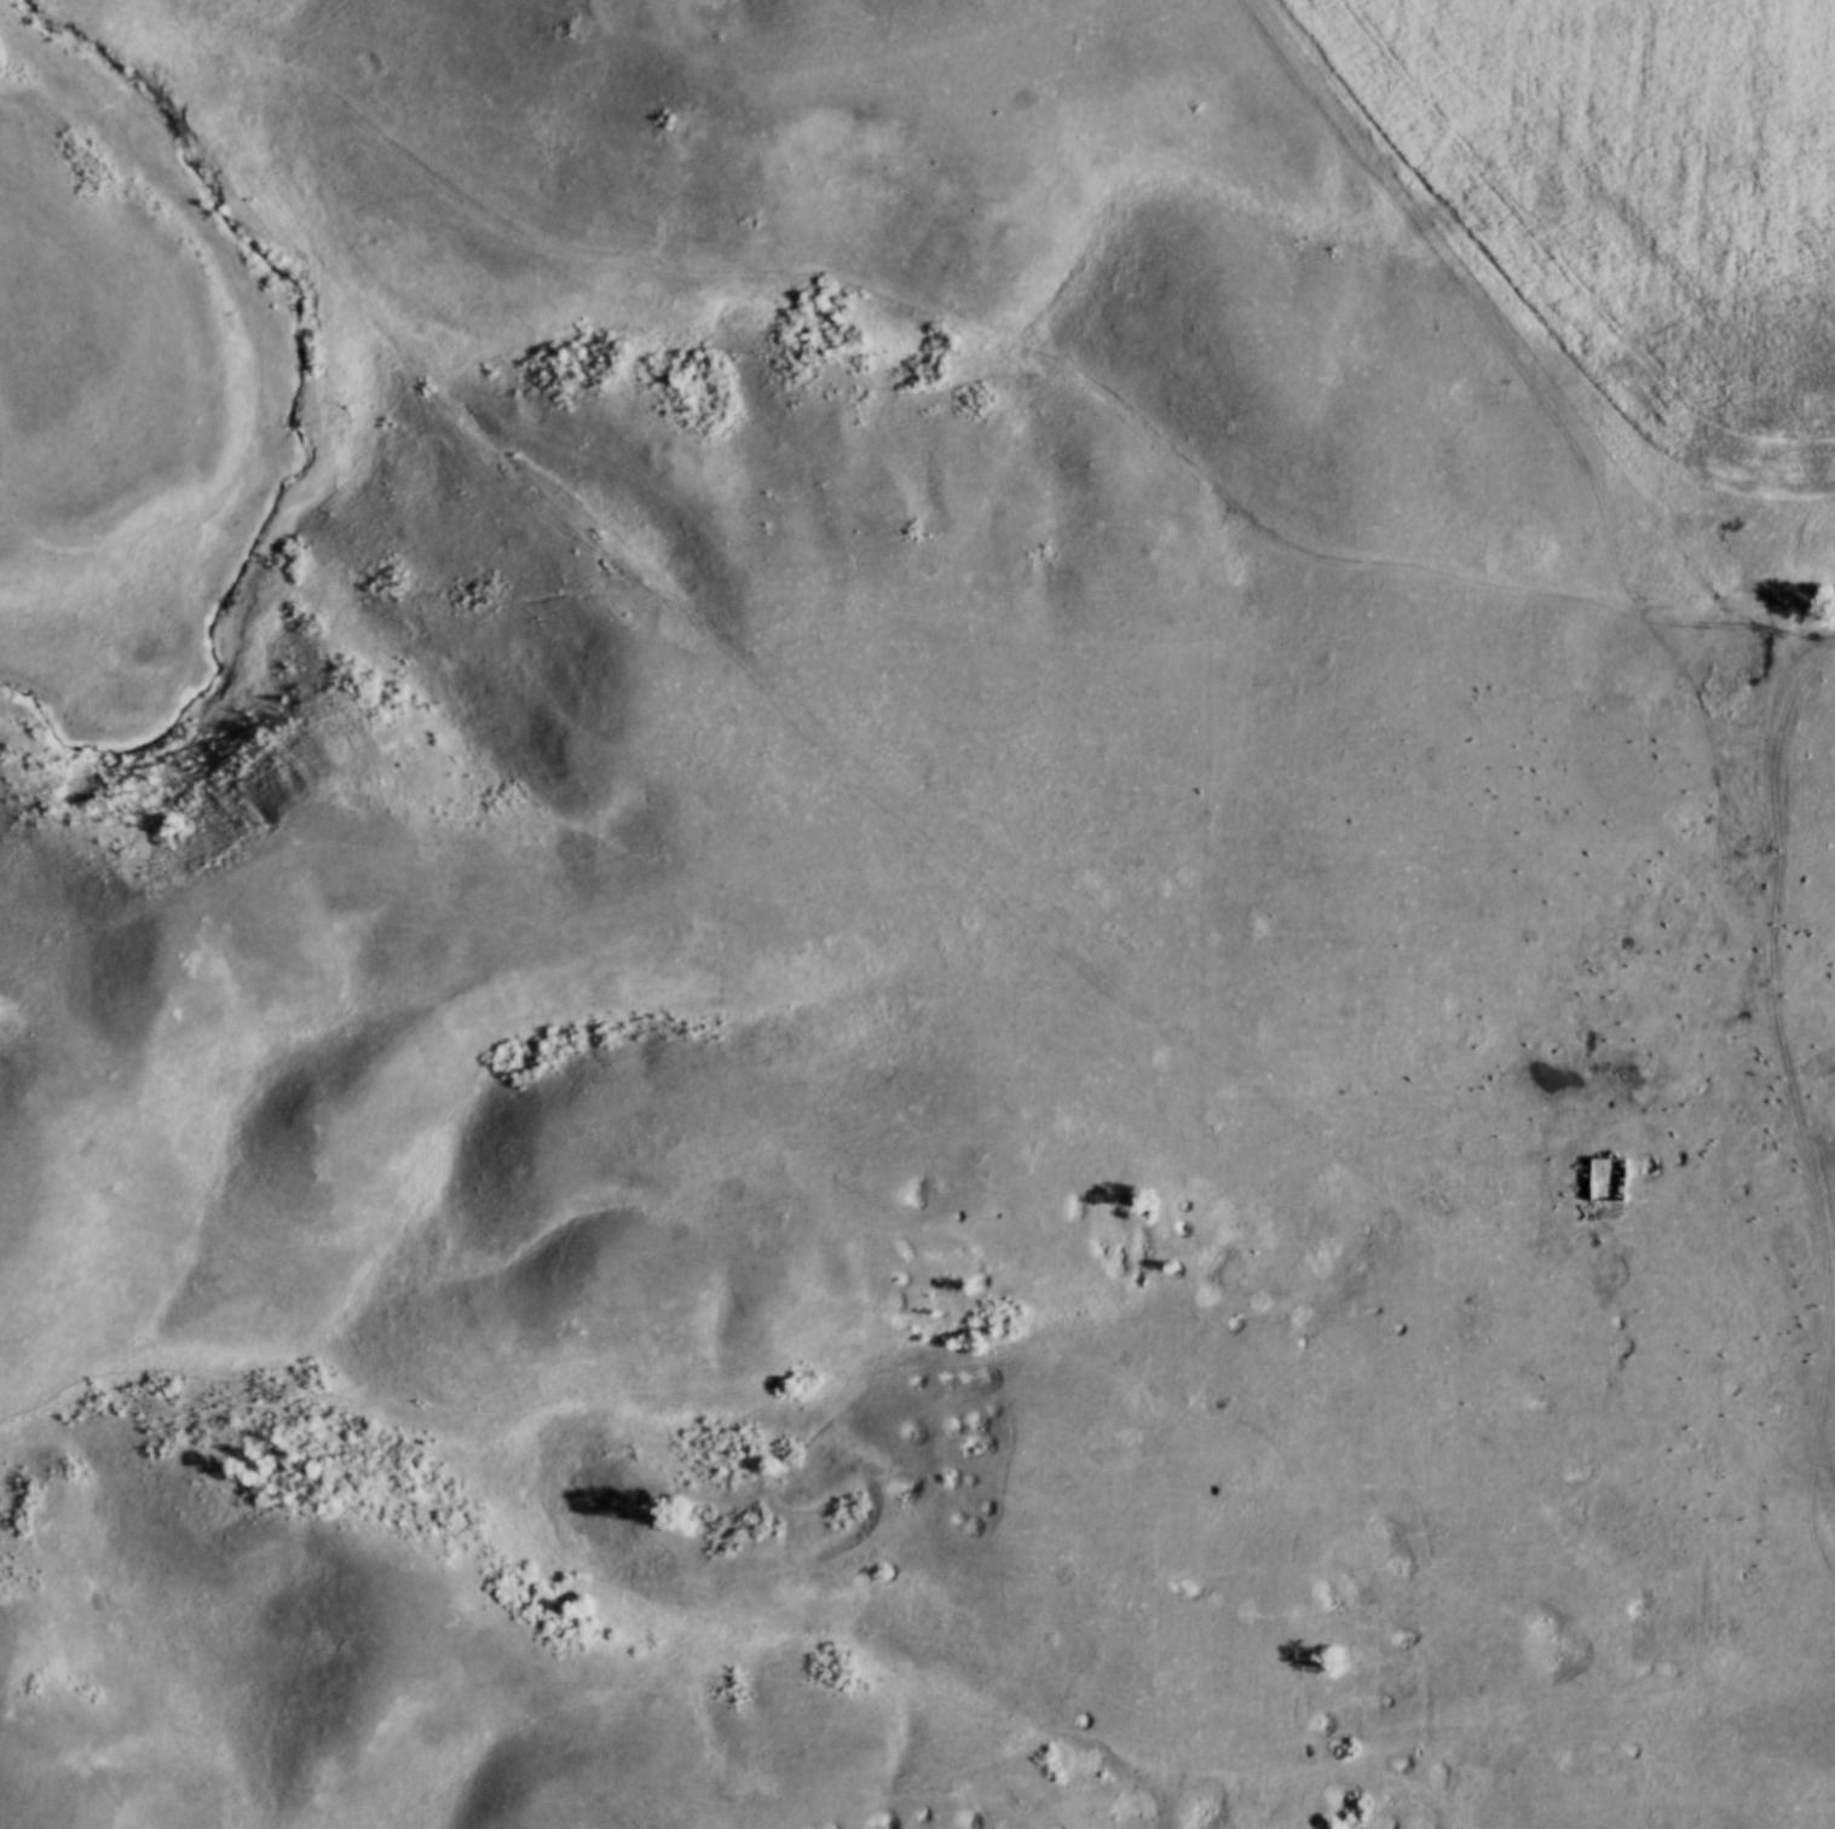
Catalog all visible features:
road: (1736, 103)
road: (1793, 1109)

